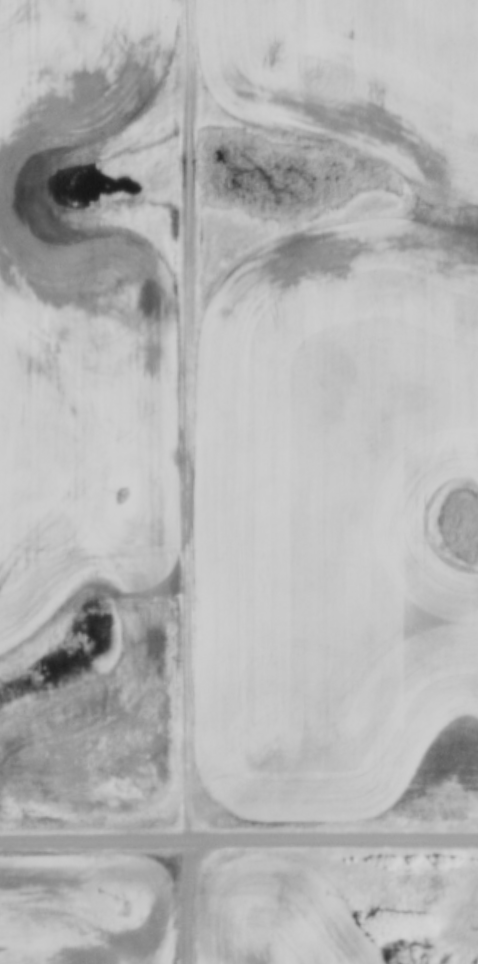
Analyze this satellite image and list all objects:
road: (188, 481)
road: (239, 839)

